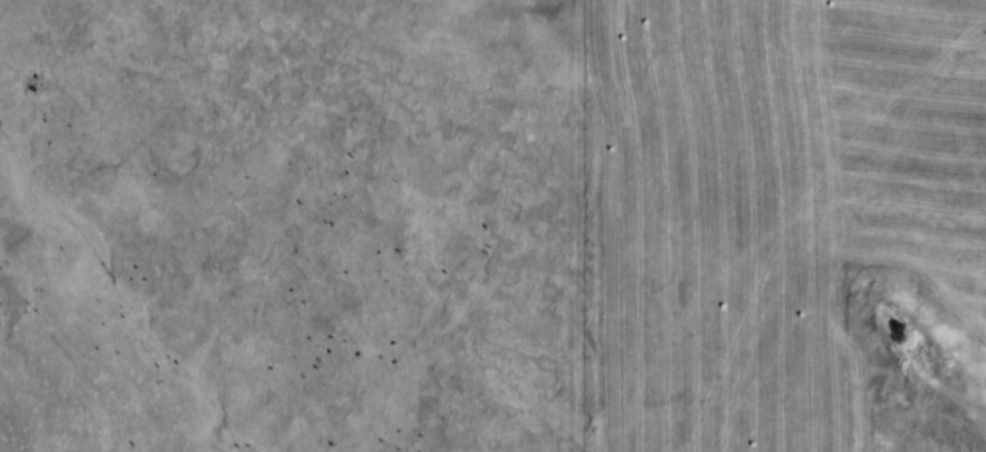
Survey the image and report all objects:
road: (616, 226)

